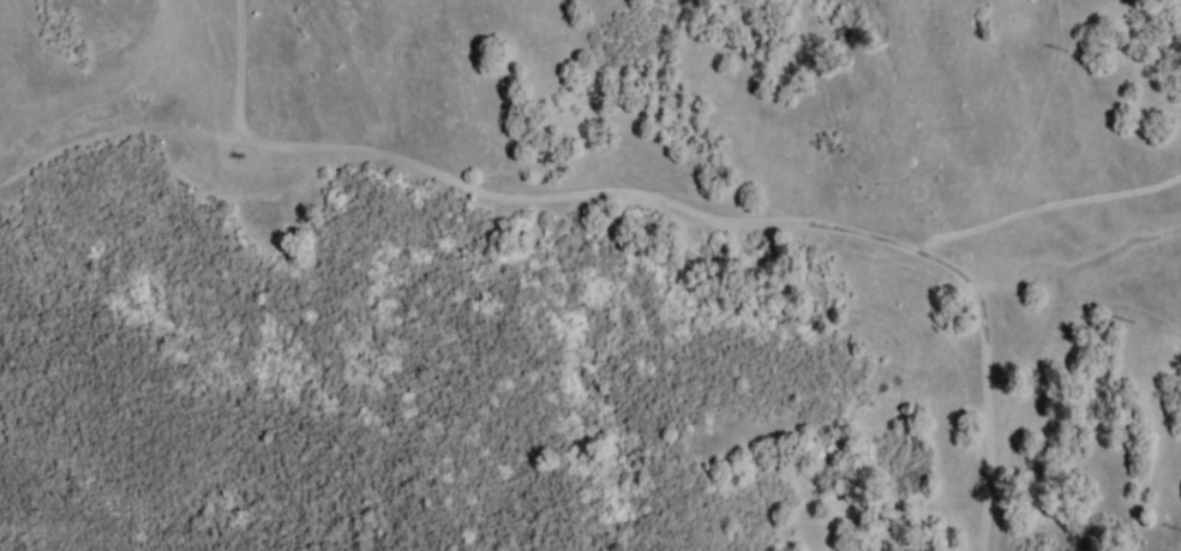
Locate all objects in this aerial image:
road: (623, 206)

